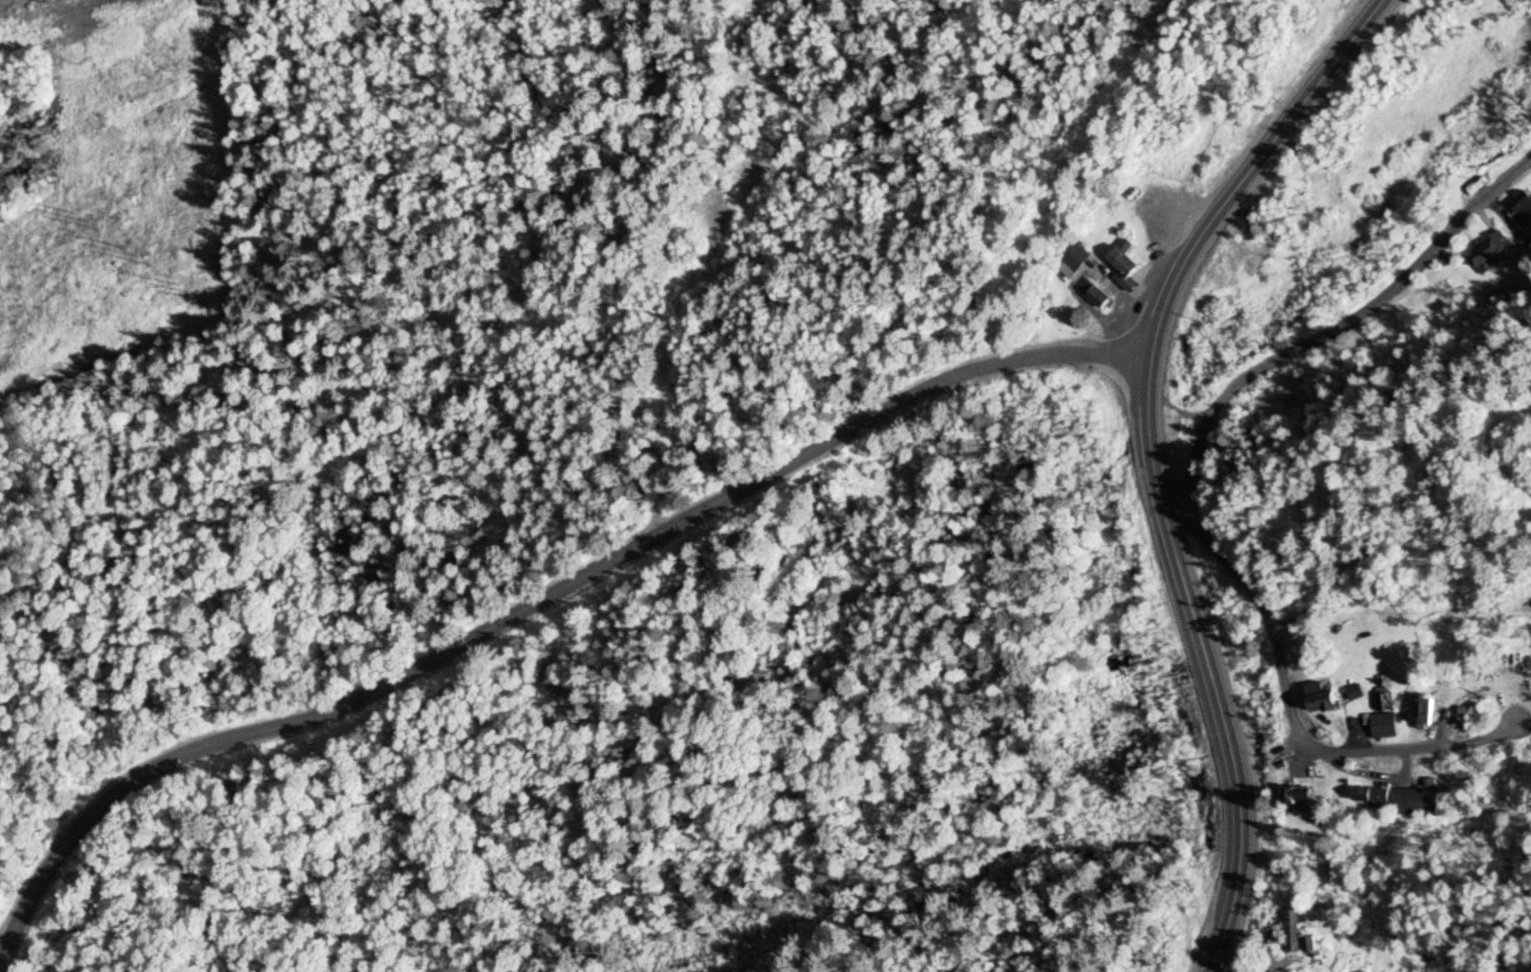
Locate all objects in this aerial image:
building: (1481, 177)
building: (1521, 204)
building: (1488, 252)
building: (1070, 261)
building: (1124, 265)
building: (1094, 294)
road: (1325, 328)
road: (1153, 458)
road: (535, 603)
road: (1287, 675)
building: (1320, 699)
building: (1421, 712)
building: (1384, 726)
building: (1280, 751)
building: (1295, 795)
building: (1369, 795)
building: (1417, 803)
building: (1292, 927)

